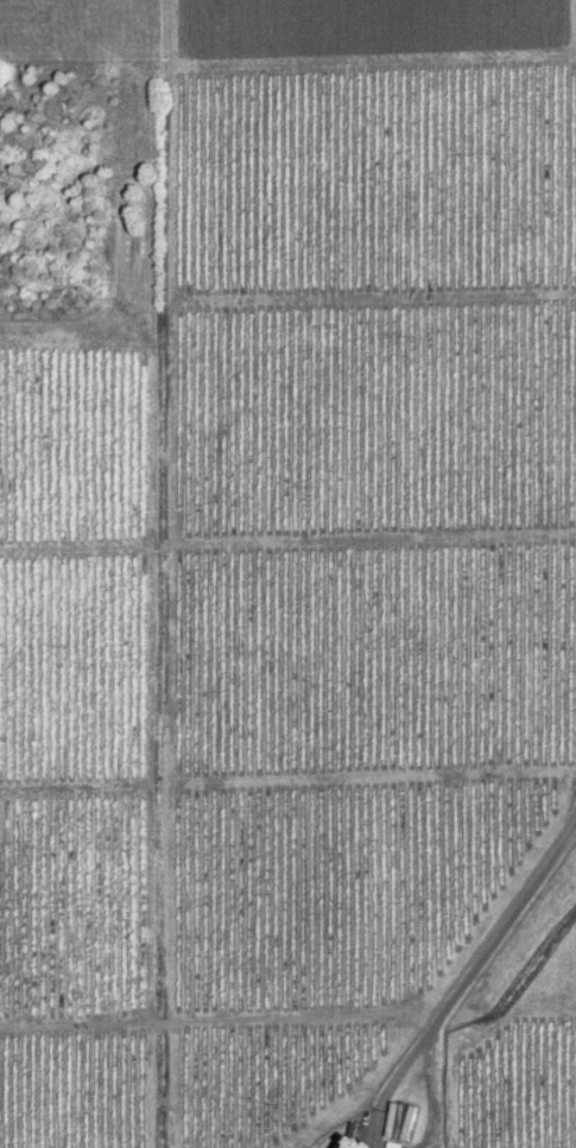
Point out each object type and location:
road: (475, 973)

